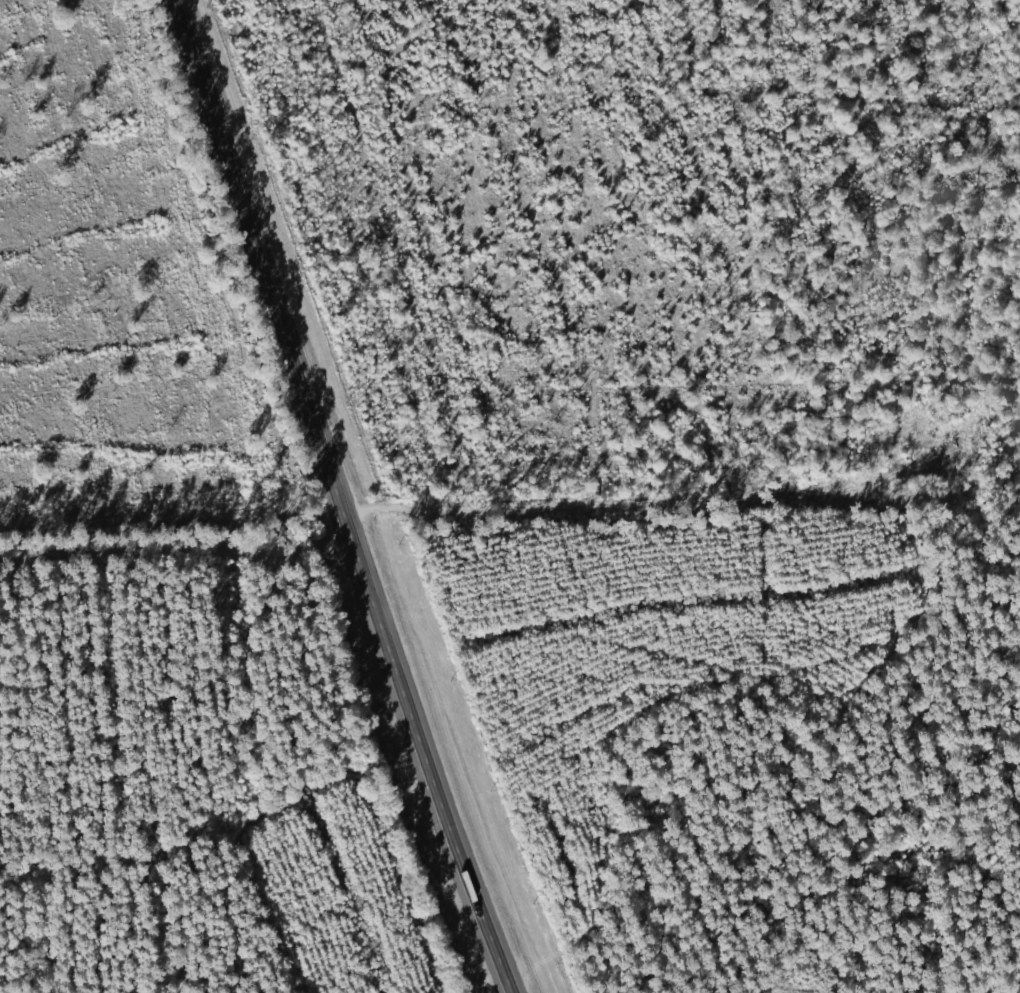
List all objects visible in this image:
road: (338, 497)
road: (176, 541)

